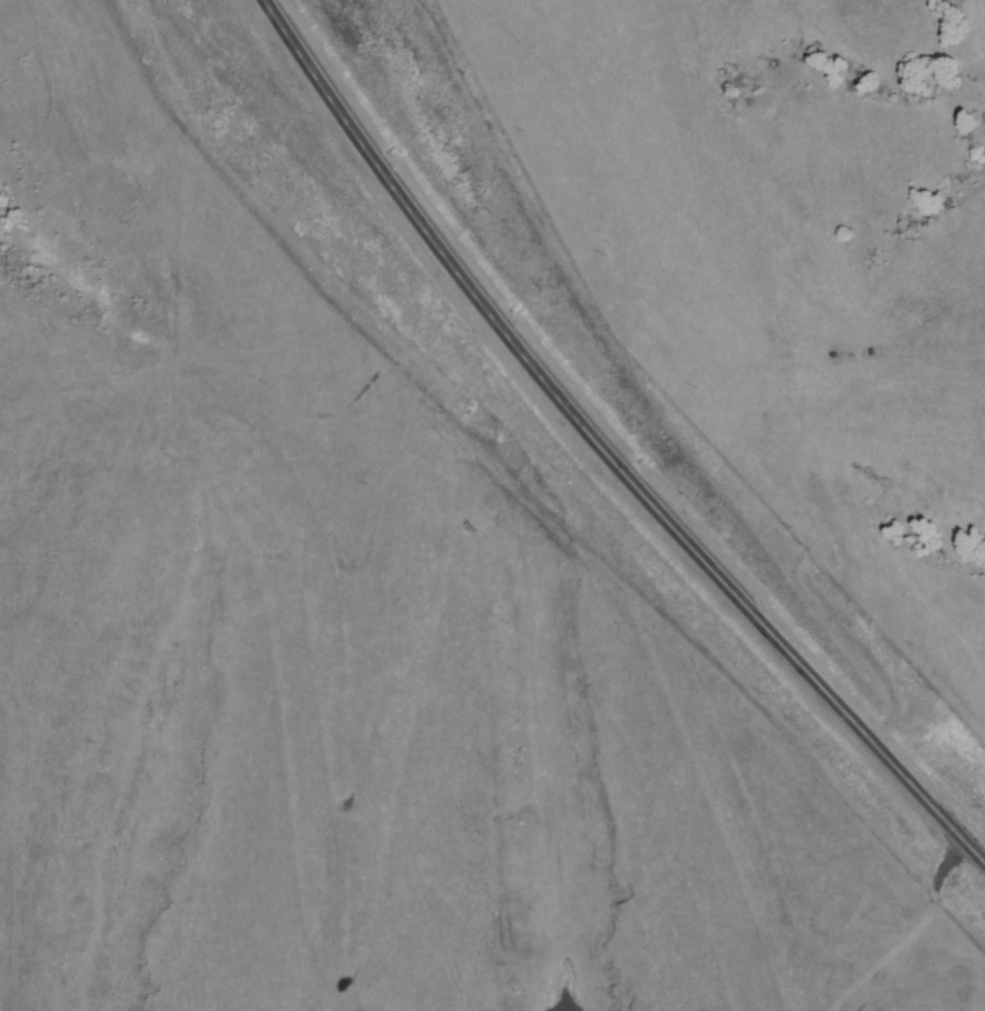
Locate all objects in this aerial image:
road: (597, 452)

